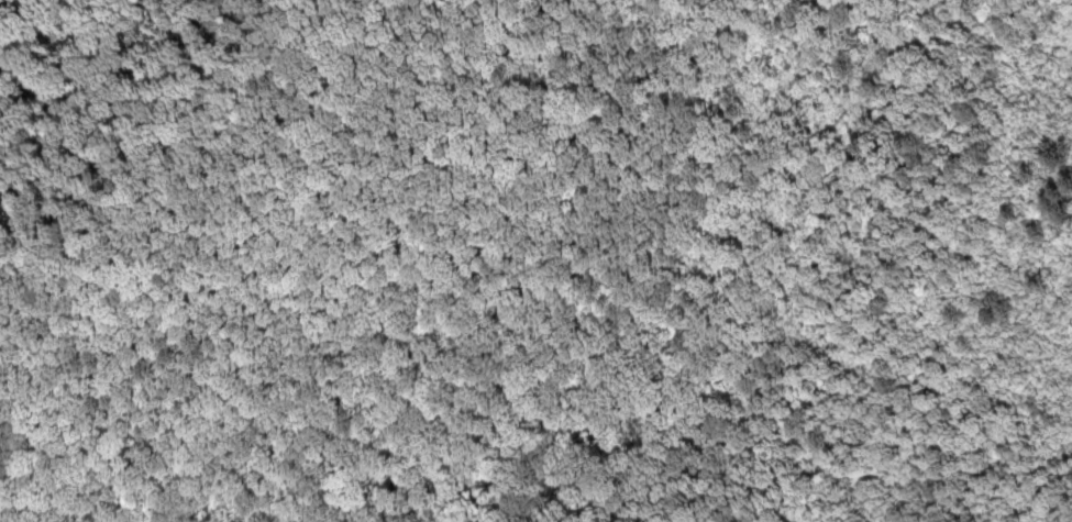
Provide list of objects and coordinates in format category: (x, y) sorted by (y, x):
road: (101, 133)

